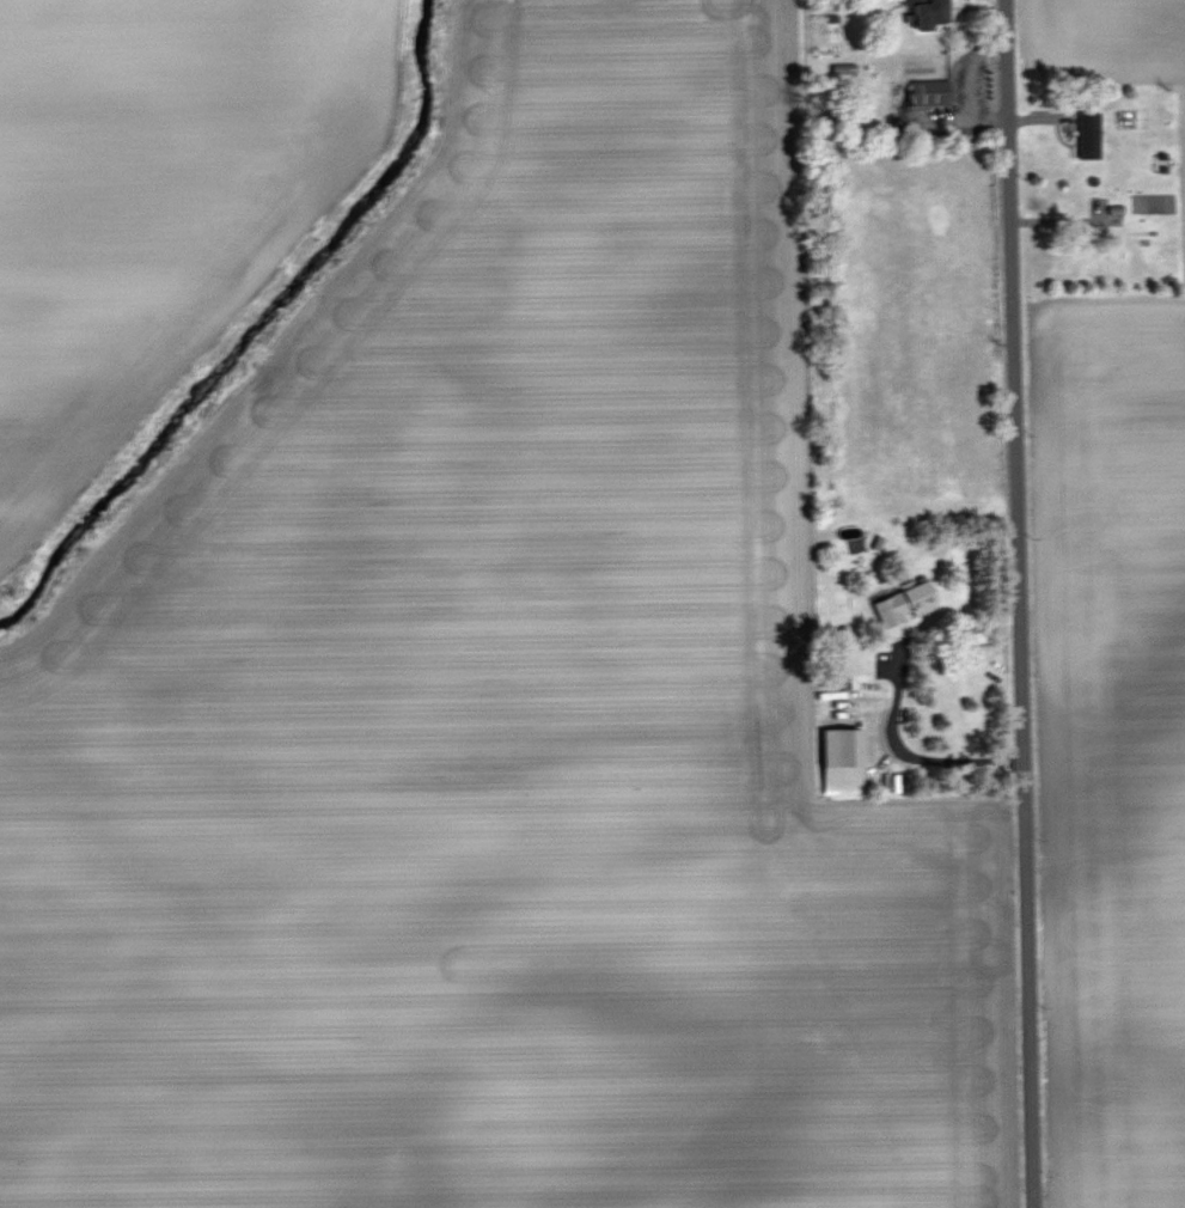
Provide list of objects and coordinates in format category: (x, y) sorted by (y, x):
building: (940, 14)
building: (936, 93)
building: (1093, 135)
building: (910, 602)
road: (1018, 604)
building: (848, 759)

